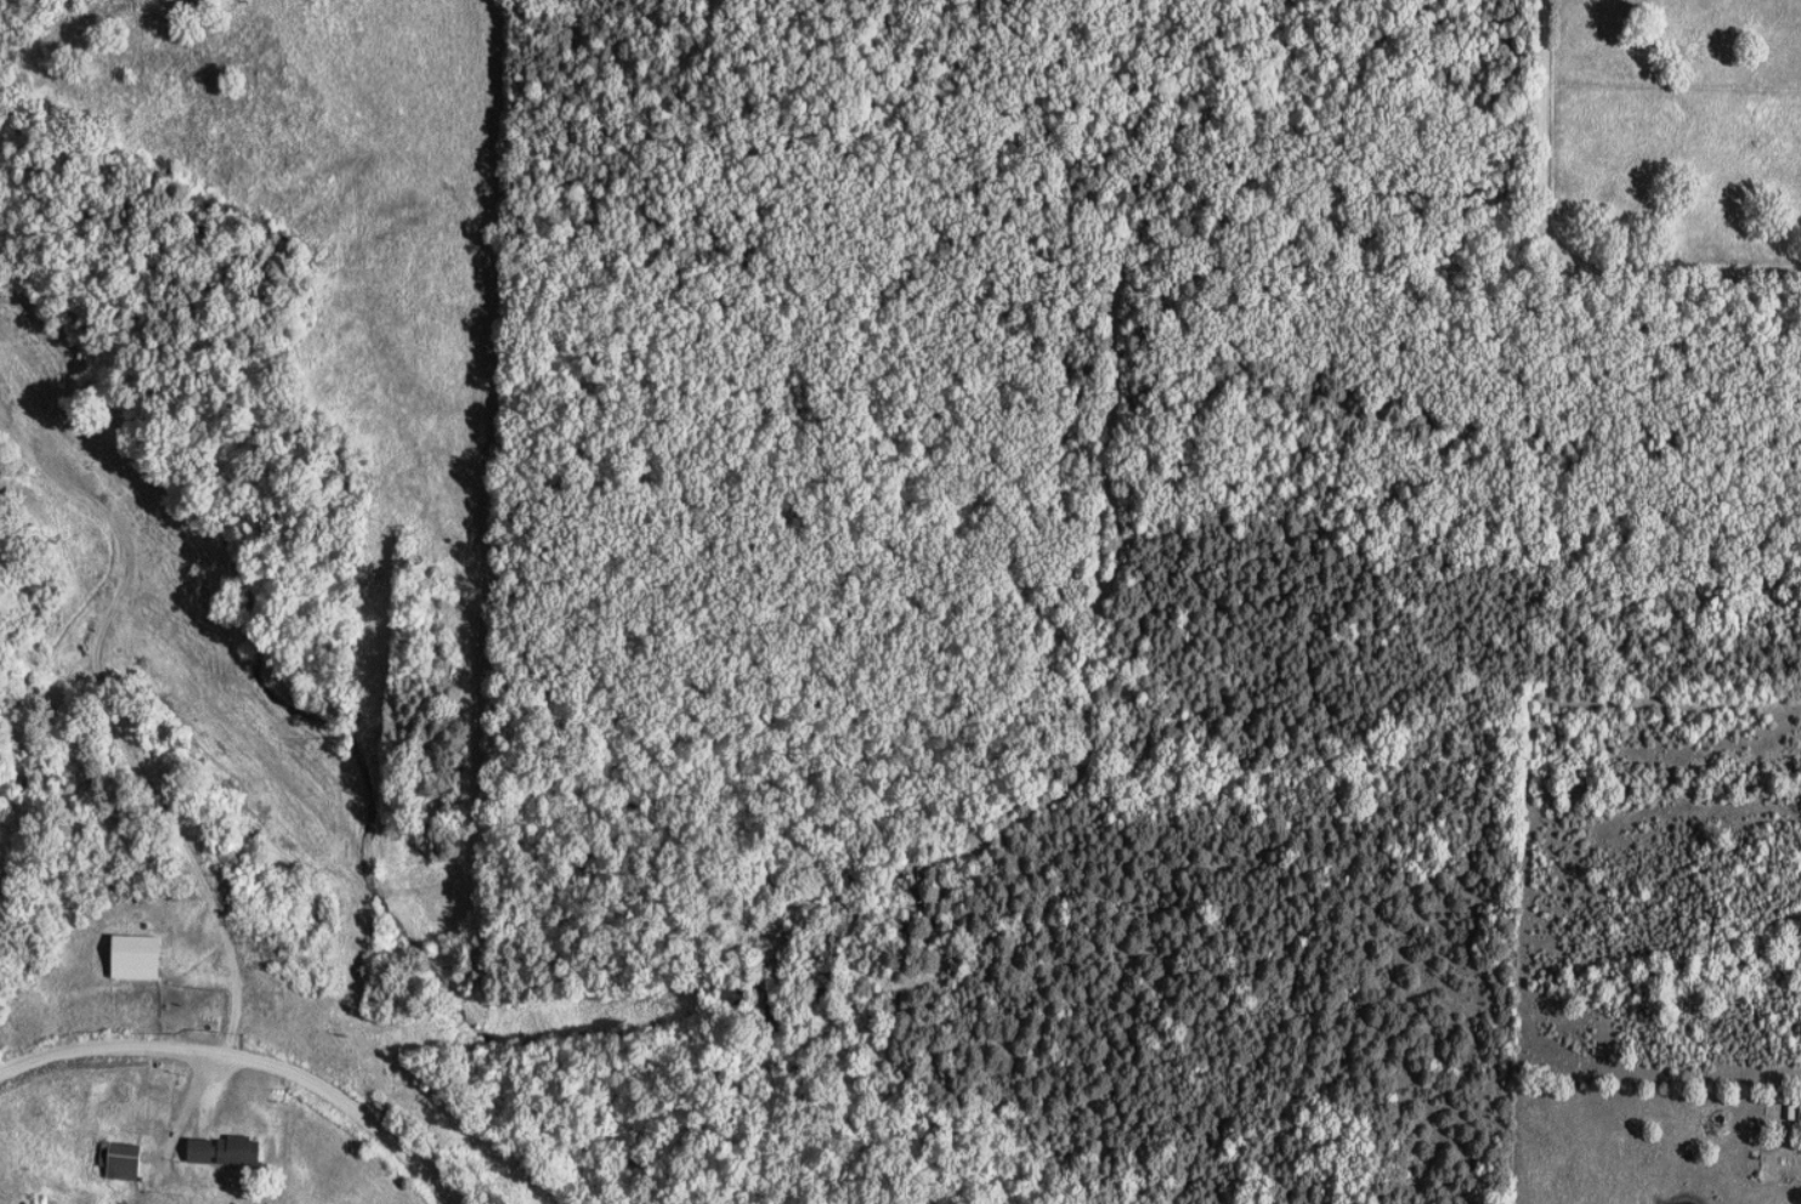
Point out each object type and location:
road: (1562, 245)
building: (2, 471)
road: (118, 517)
road: (1099, 618)
building: (145, 956)
road: (250, 1057)
building: (1795, 1113)
building: (230, 1151)
building: (126, 1159)

